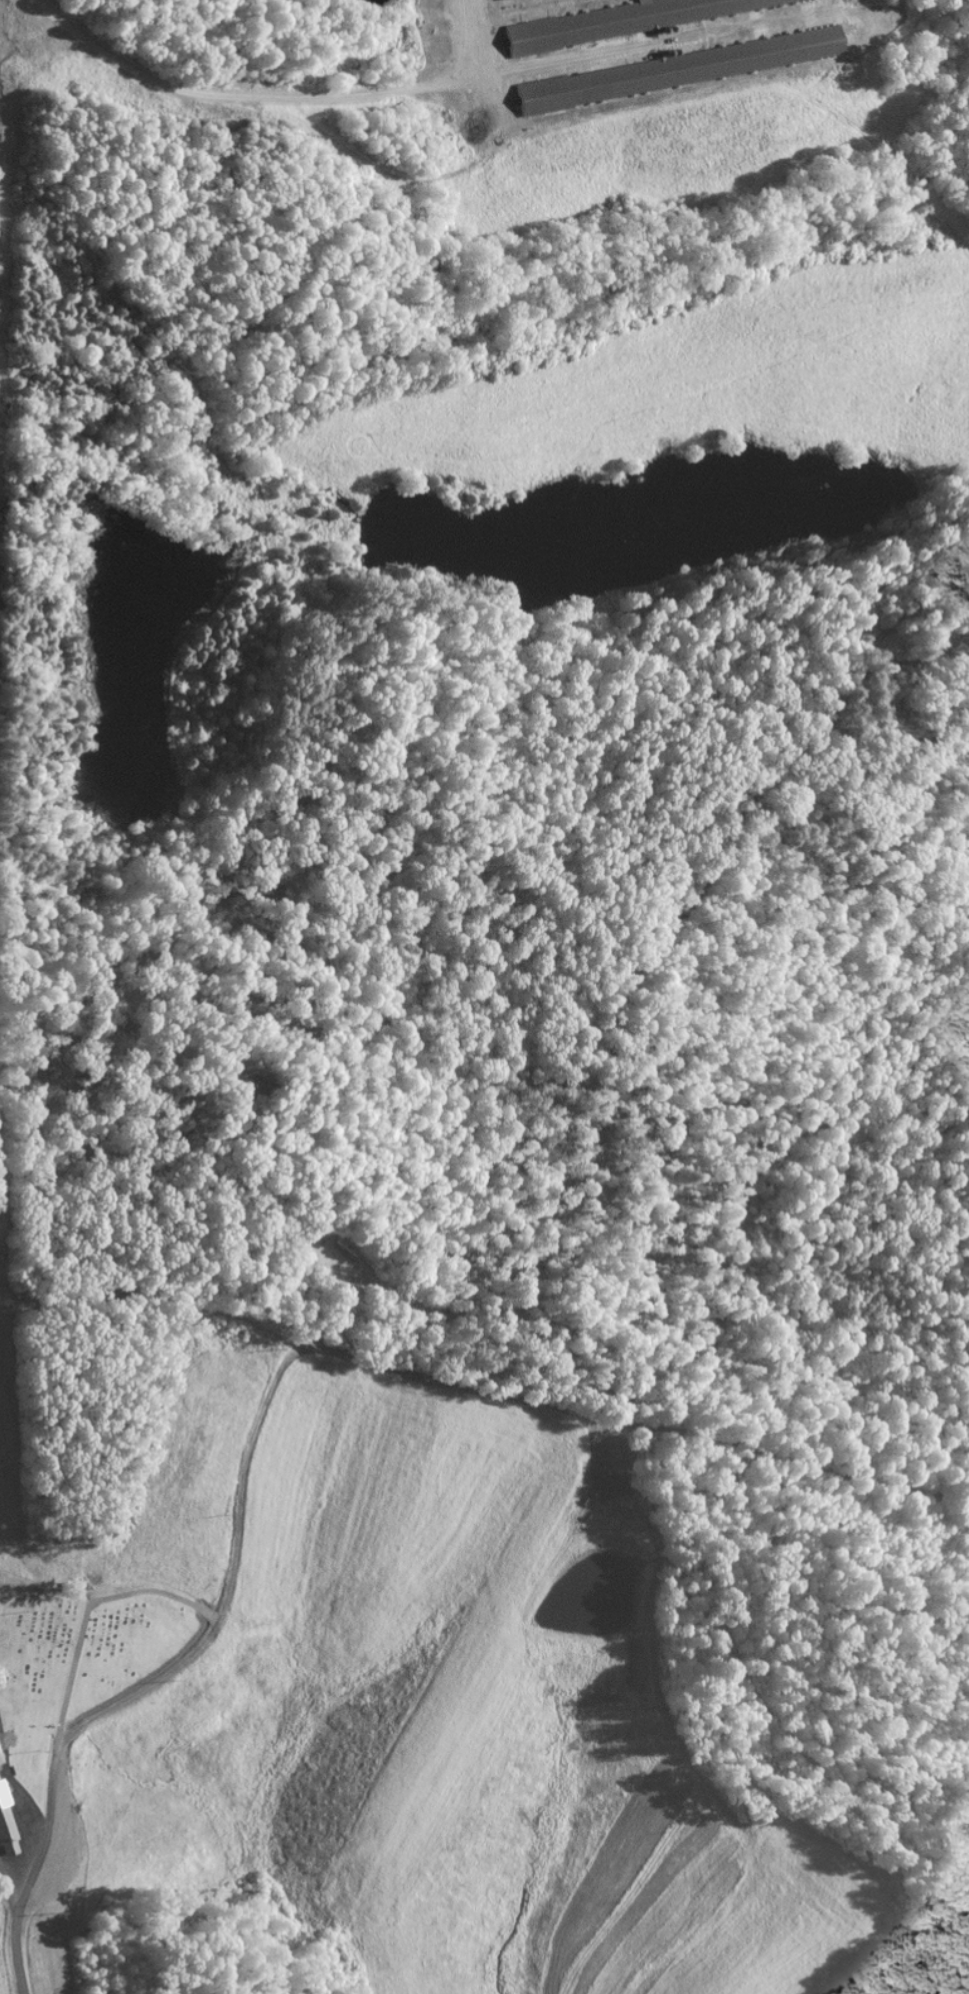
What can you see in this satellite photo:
building: (619, 21)
building: (686, 68)
park: (93, 1629)
road: (191, 1653)
building: (0, 1759)
building: (6, 1826)
road: (15, 1865)

